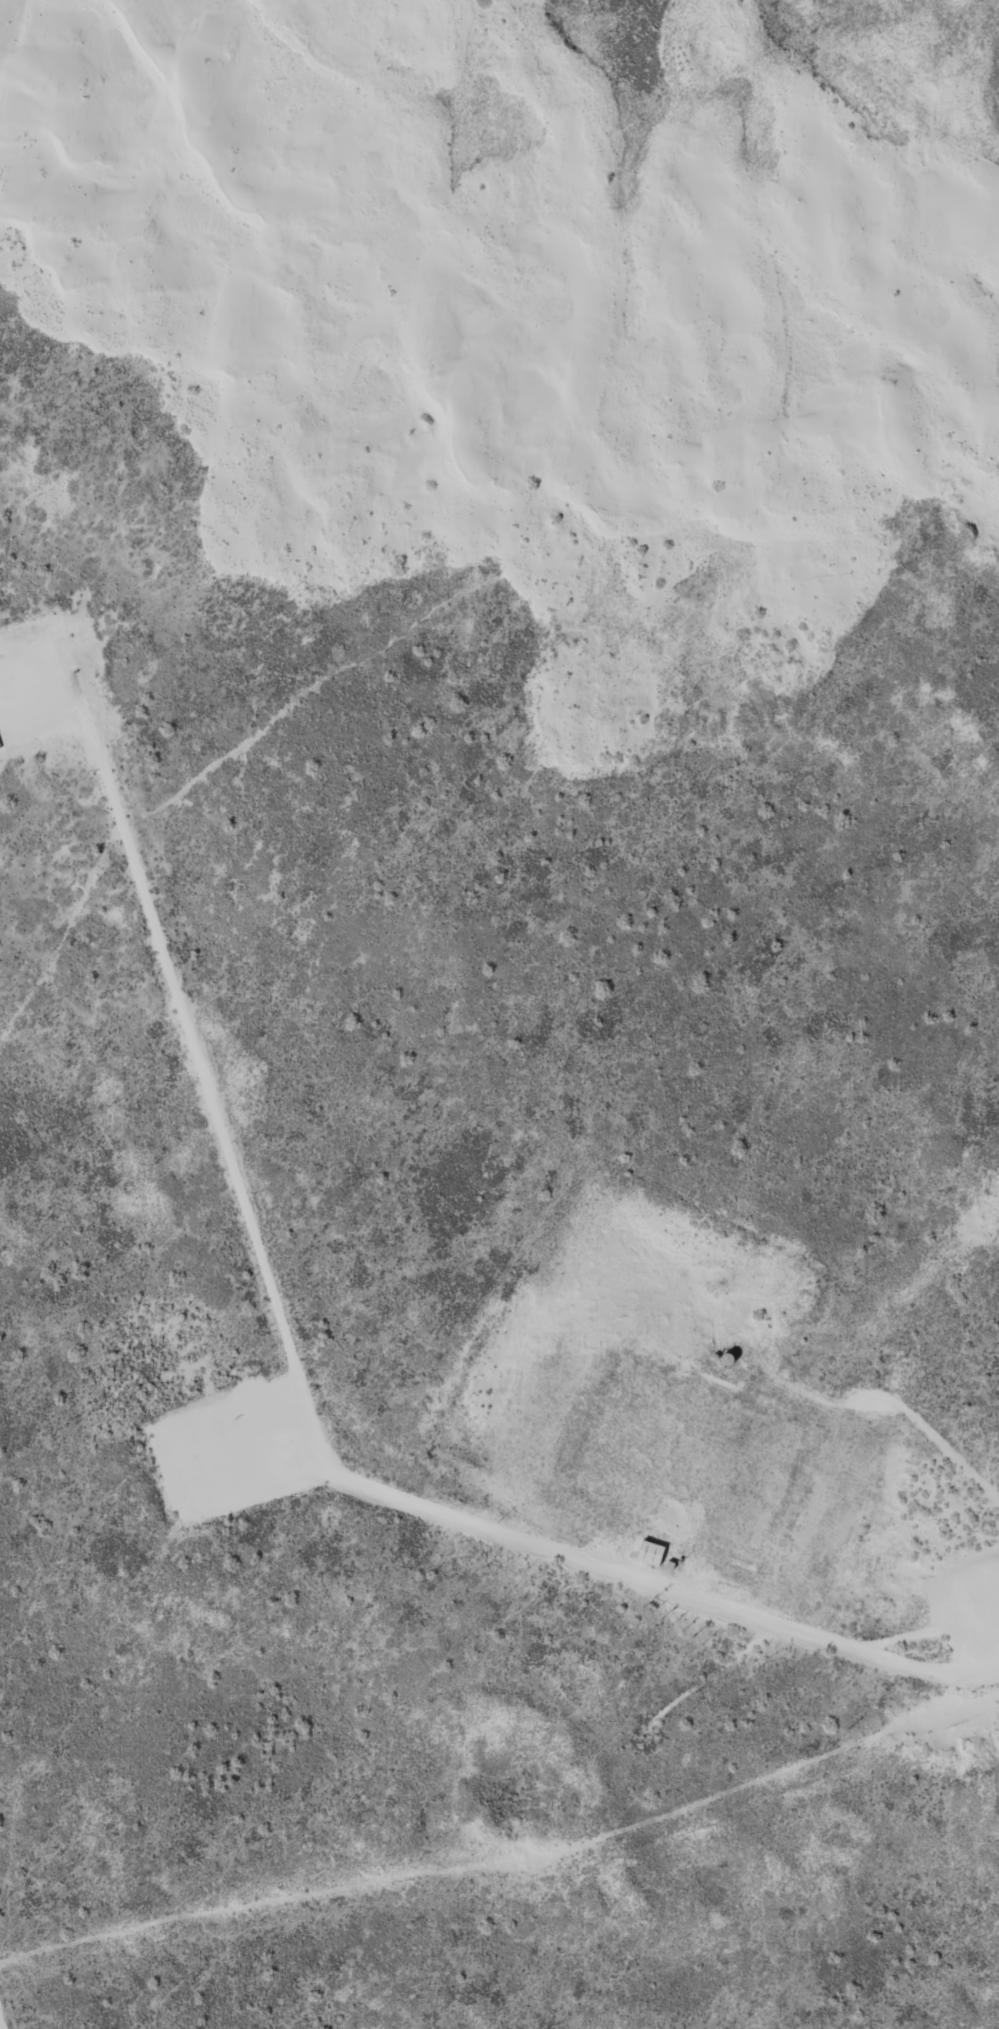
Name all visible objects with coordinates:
building: (648, 1550)

